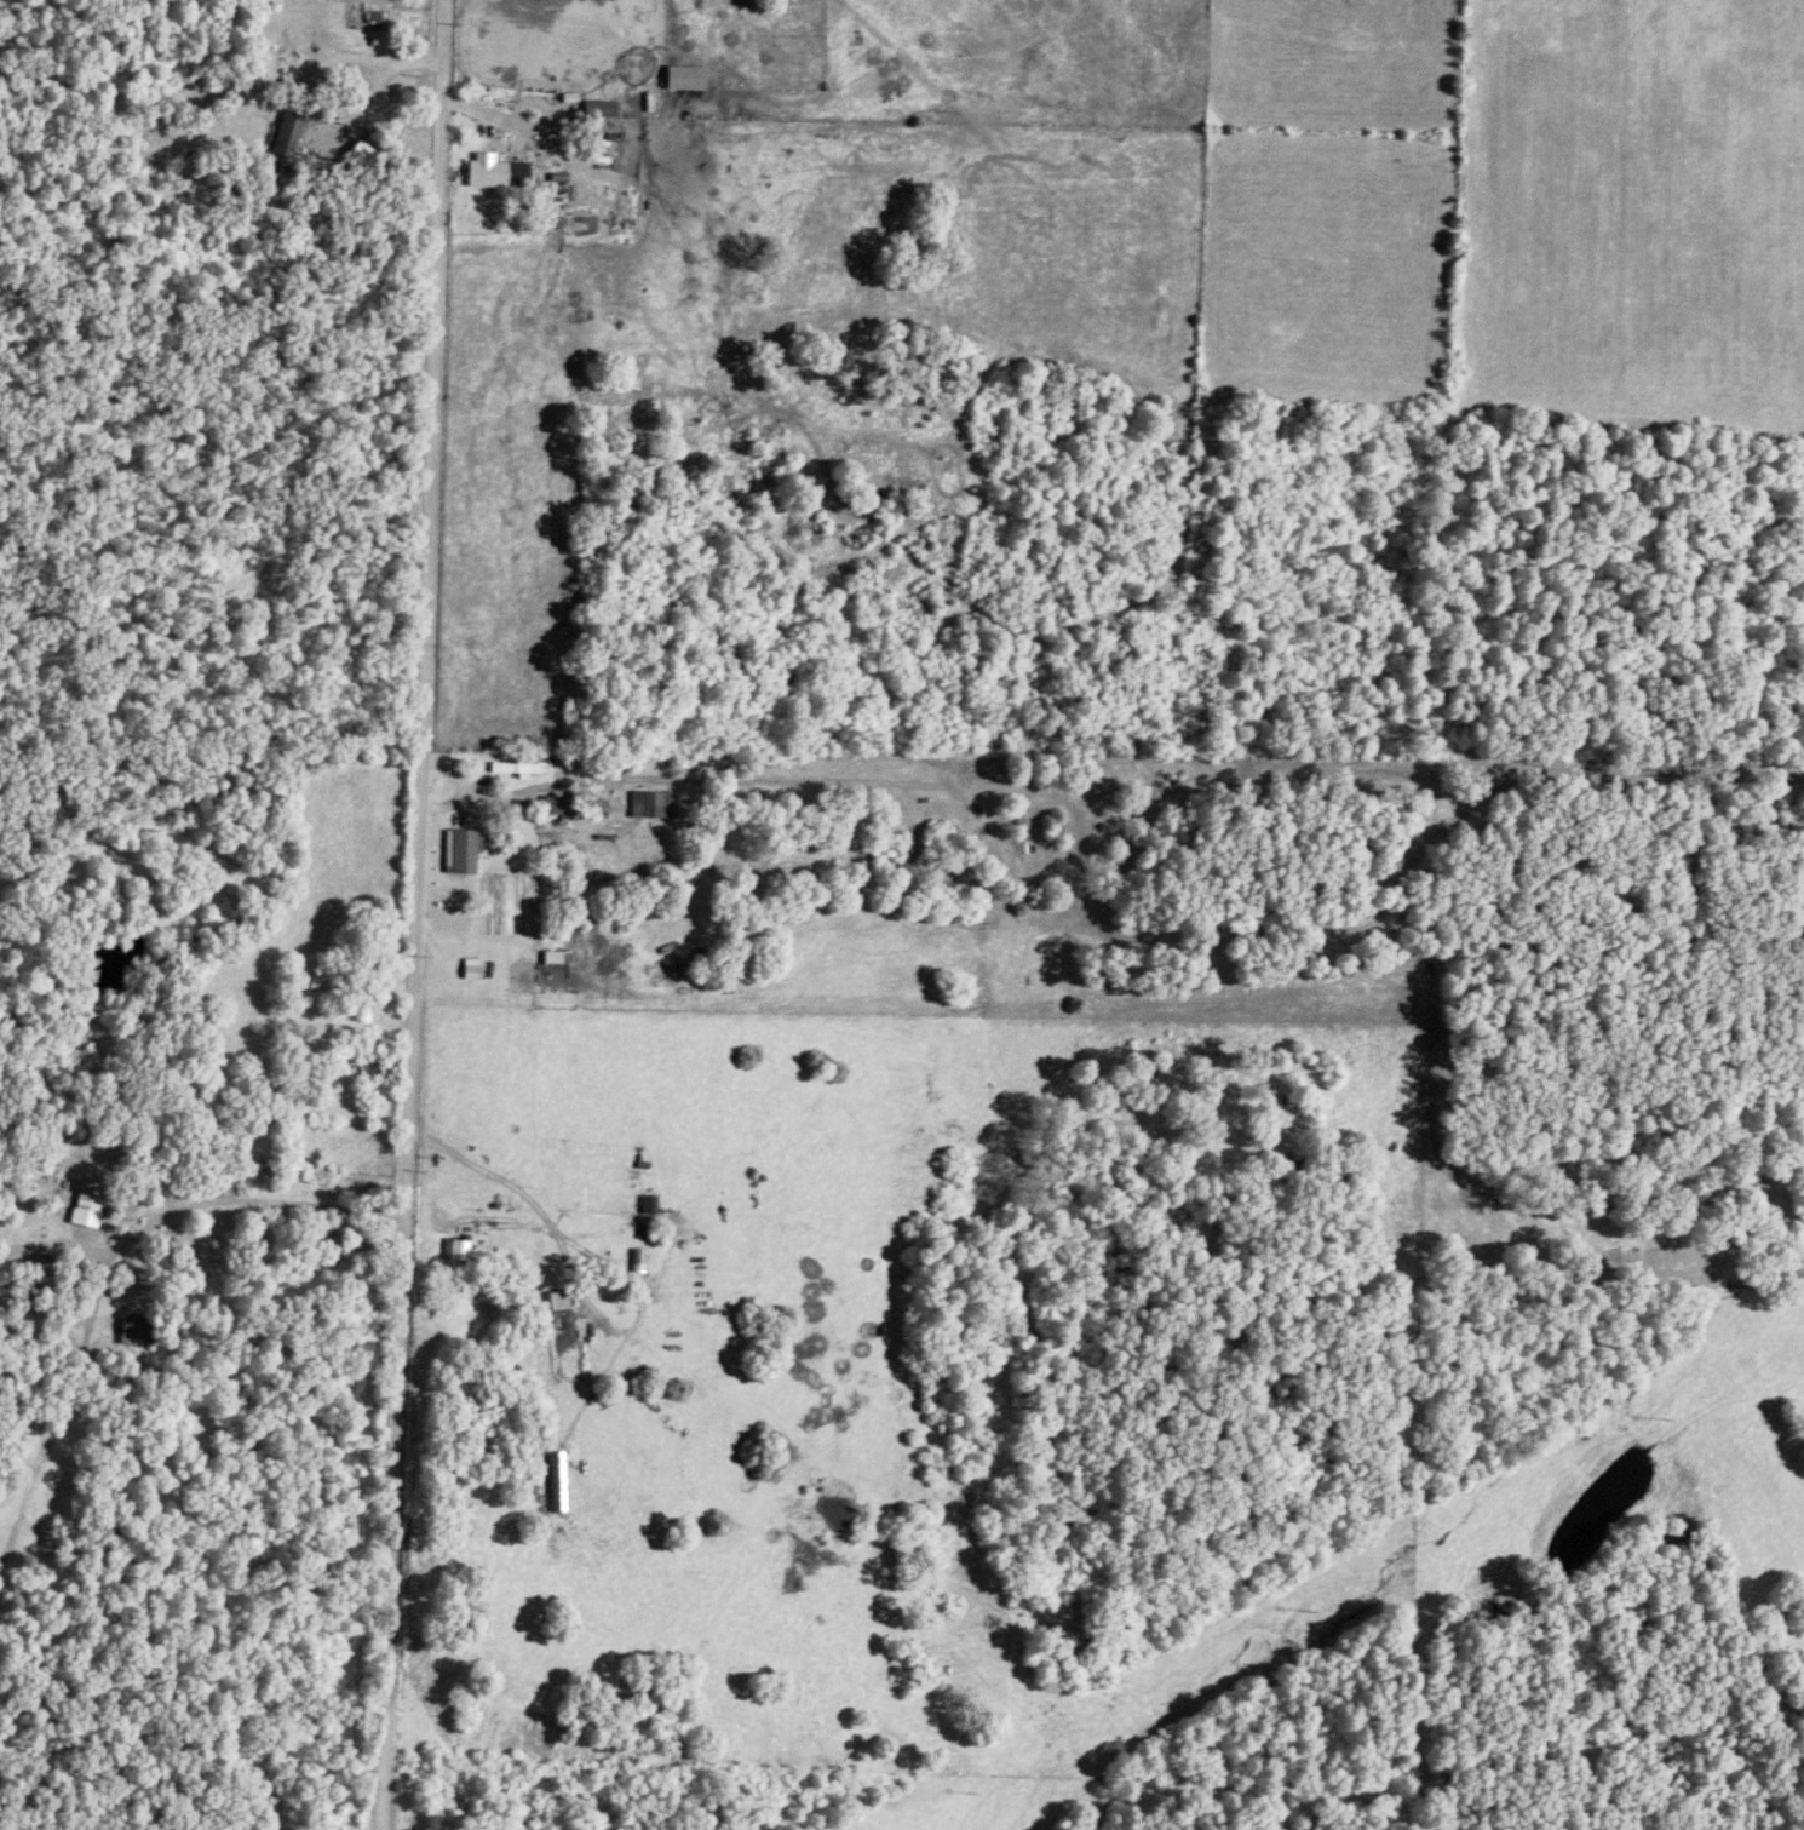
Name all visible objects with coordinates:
building: (691, 65)
road: (309, 75)
building: (282, 142)
building: (494, 173)
building: (649, 805)
building: (557, 807)
building: (463, 853)
road: (413, 914)
building: (88, 1198)
road: (231, 1200)
building: (645, 1206)
building: (84, 1227)
building: (454, 1251)
building: (556, 1302)
building: (133, 1332)
power tower: (1662, 1419)
power tower: (1306, 1612)
power tower: (967, 1796)

